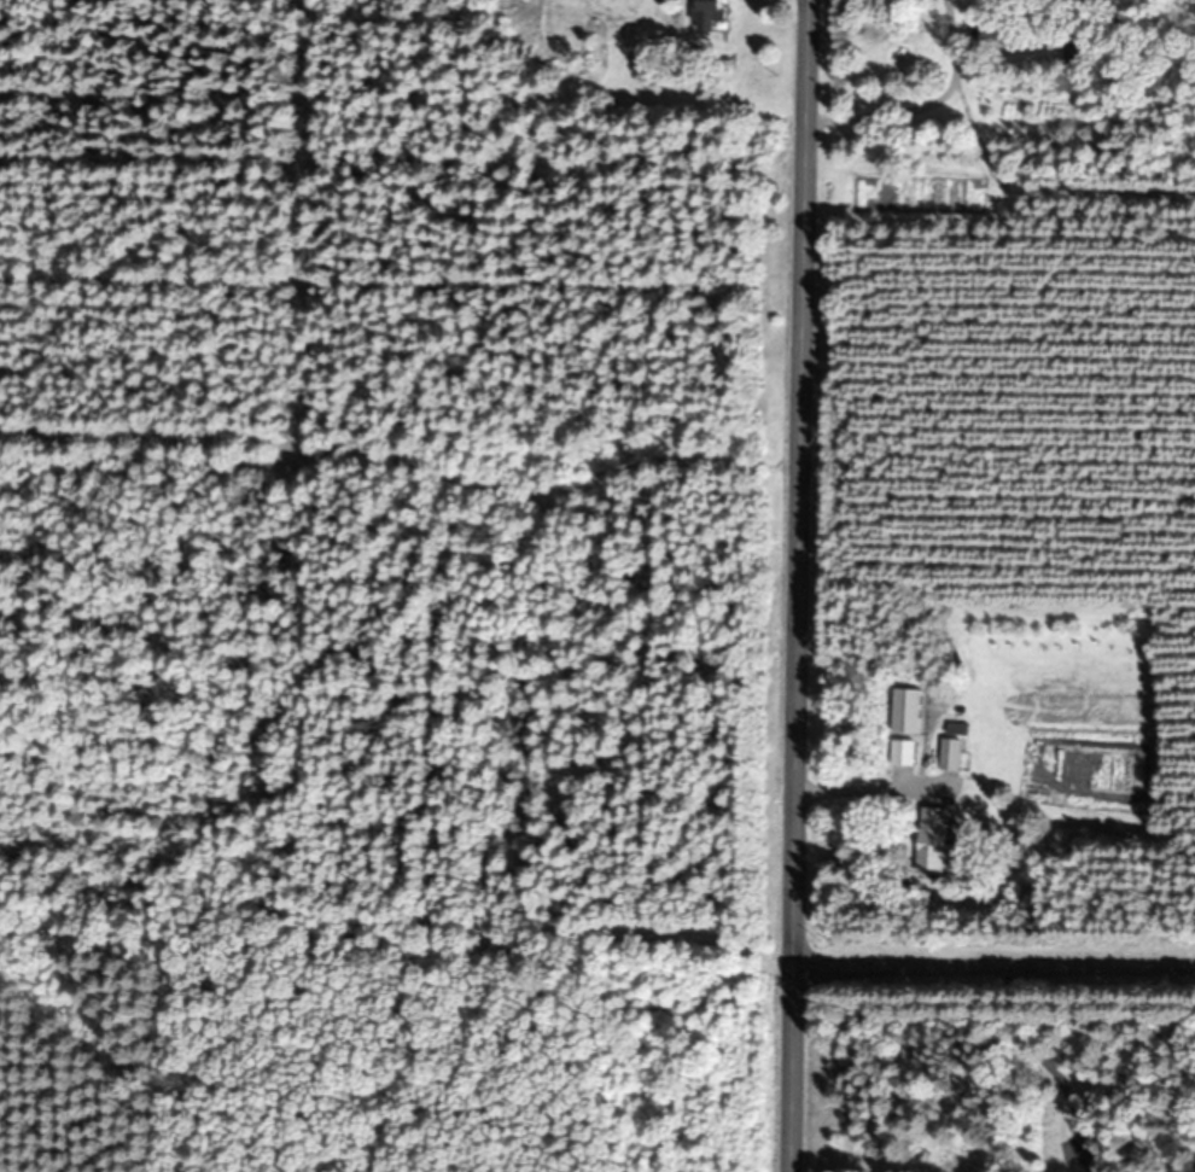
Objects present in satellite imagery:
building: (710, 14)
building: (995, 40)
building: (1078, 52)
road: (795, 585)
building: (909, 711)
building: (955, 729)
building: (904, 753)
building: (952, 754)
building: (935, 842)
road: (993, 961)

